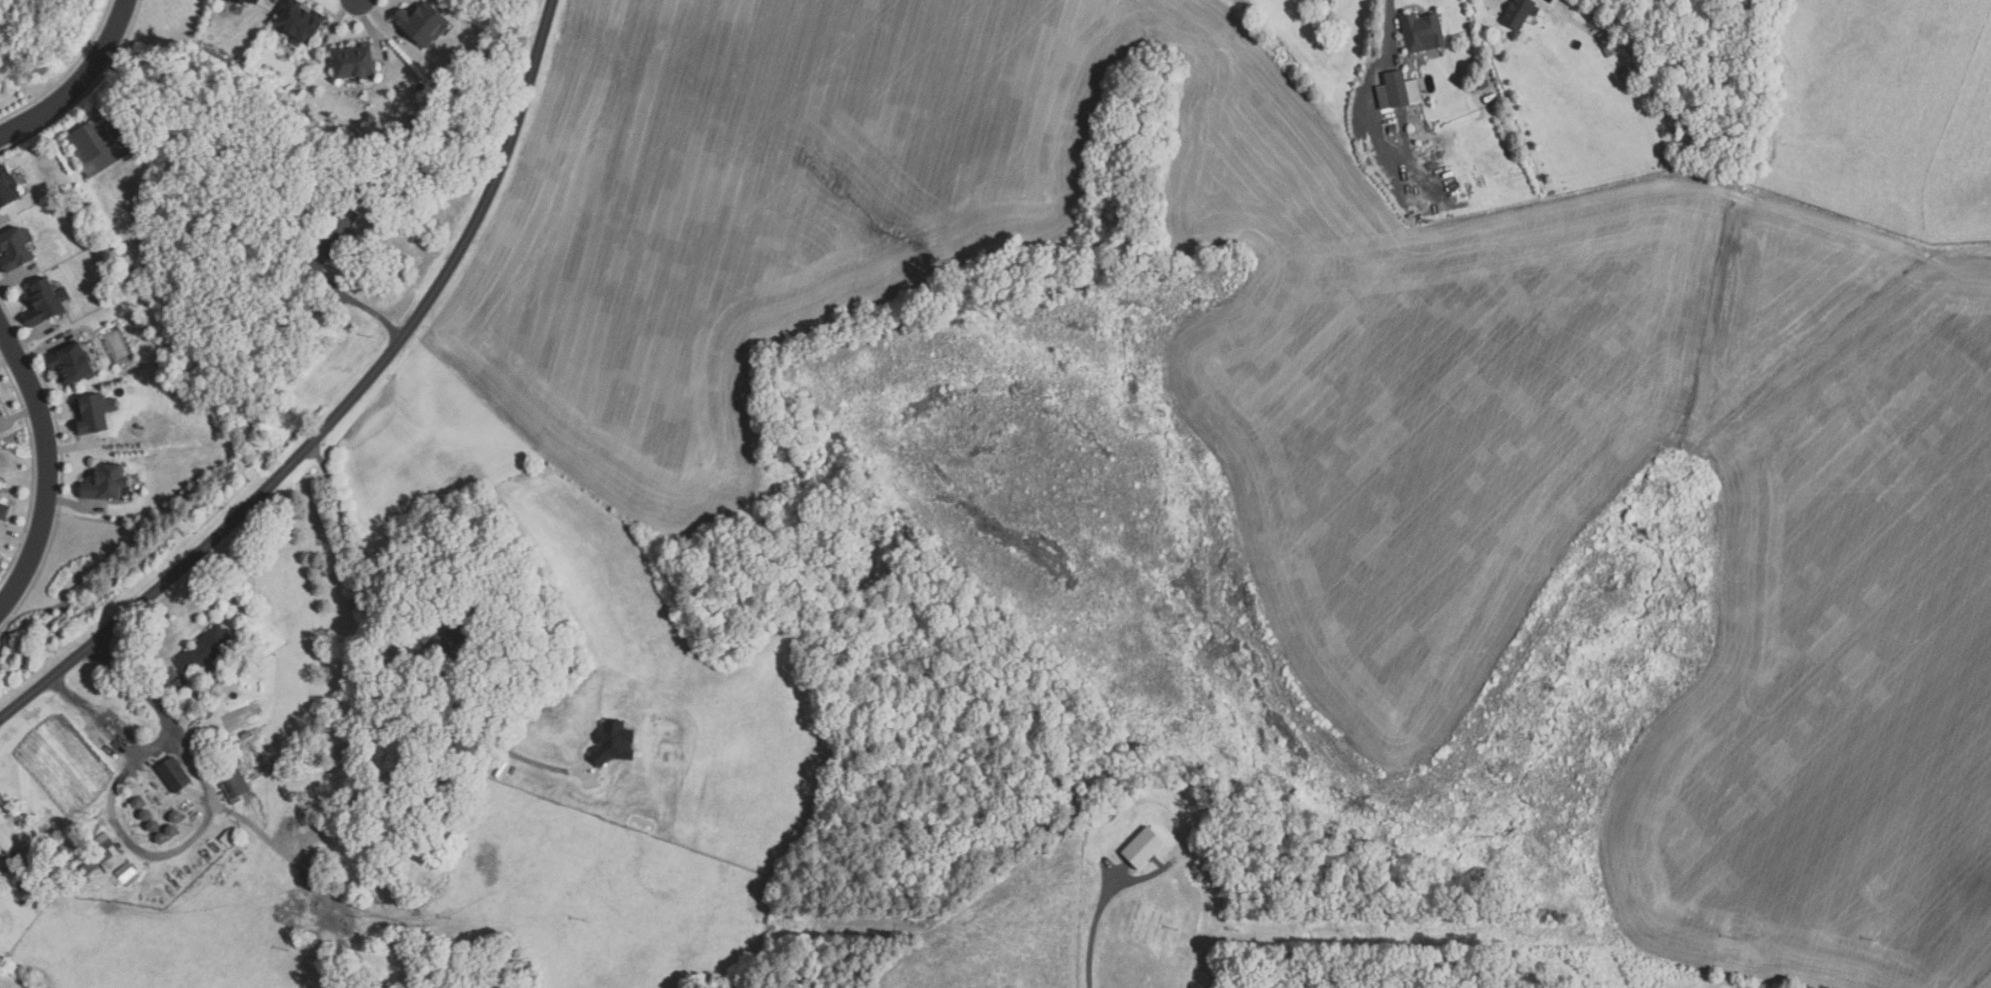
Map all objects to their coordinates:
building: (252, 2)
building: (1518, 11)
building: (1597, 11)
building: (300, 20)
building: (424, 24)
road: (1384, 27)
building: (1424, 33)
building: (1610, 44)
building: (354, 62)
road: (79, 83)
building: (1400, 91)
building: (103, 144)
building: (8, 188)
building: (279, 229)
building: (338, 231)
building: (18, 249)
building: (283, 284)
road: (356, 302)
building: (48, 304)
building: (74, 364)
road: (343, 407)
building: (2, 413)
building: (96, 414)
road: (47, 465)
building: (107, 483)
building: (0, 484)
building: (0, 493)
building: (4, 512)
road: (350, 540)
building: (460, 629)
building: (204, 651)
building: (489, 704)
building: (616, 741)
road: (159, 743)
building: (174, 776)
building: (235, 784)
building: (138, 803)
silo: (138, 803)
building: (146, 814)
silo: (146, 814)
building: (176, 817)
silo: (176, 817)
building: (153, 826)
silo: (153, 826)
building: (172, 830)
silo: (172, 830)
building: (161, 838)
silo: (161, 838)
building: (228, 838)
building: (1146, 847)
building: (107, 852)
road: (4, 863)
building: (32, 870)
building: (83, 872)
building: (129, 874)
building: (15, 875)
road: (1094, 923)

